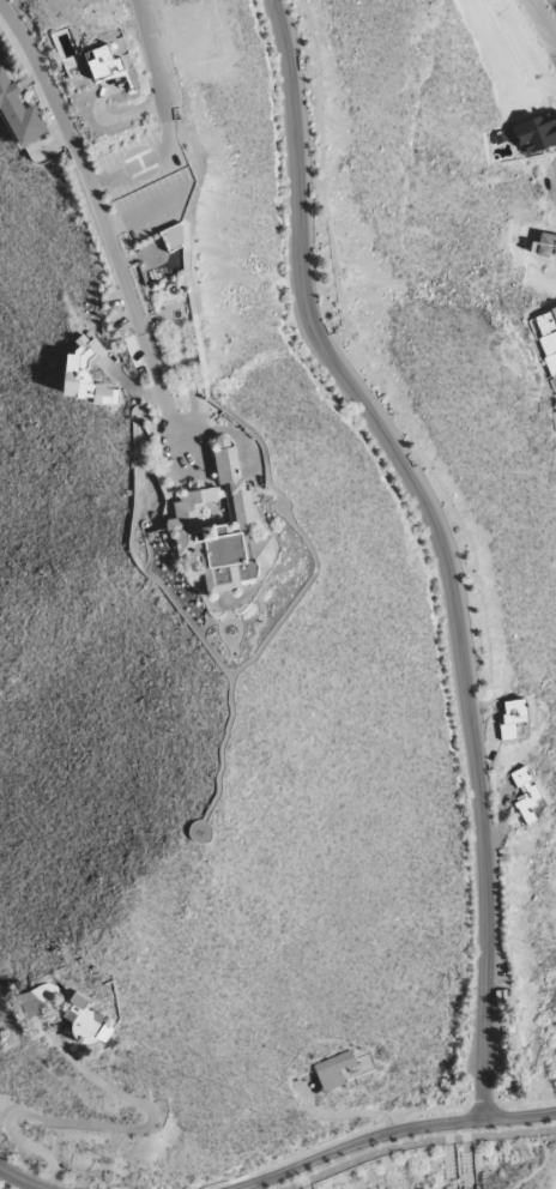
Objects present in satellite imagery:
road: (543, 20)
road: (156, 56)
building: (105, 62)
building: (19, 111)
road: (97, 199)
building: (174, 236)
building: (544, 246)
building: (546, 338)
building: (87, 374)
building: (554, 418)
road: (415, 481)
building: (222, 526)
building: (512, 717)
building: (526, 793)
building: (38, 998)
building: (86, 1019)
road: (488, 1052)
building: (334, 1069)
road: (528, 1103)
road: (484, 1107)
road: (111, 1125)
road: (395, 1129)
road: (331, 1139)
road: (418, 1142)
road: (538, 1165)
park: (458, 1167)
road: (20, 1179)
road: (261, 1179)
road: (237, 1188)
road: (246, 1188)

